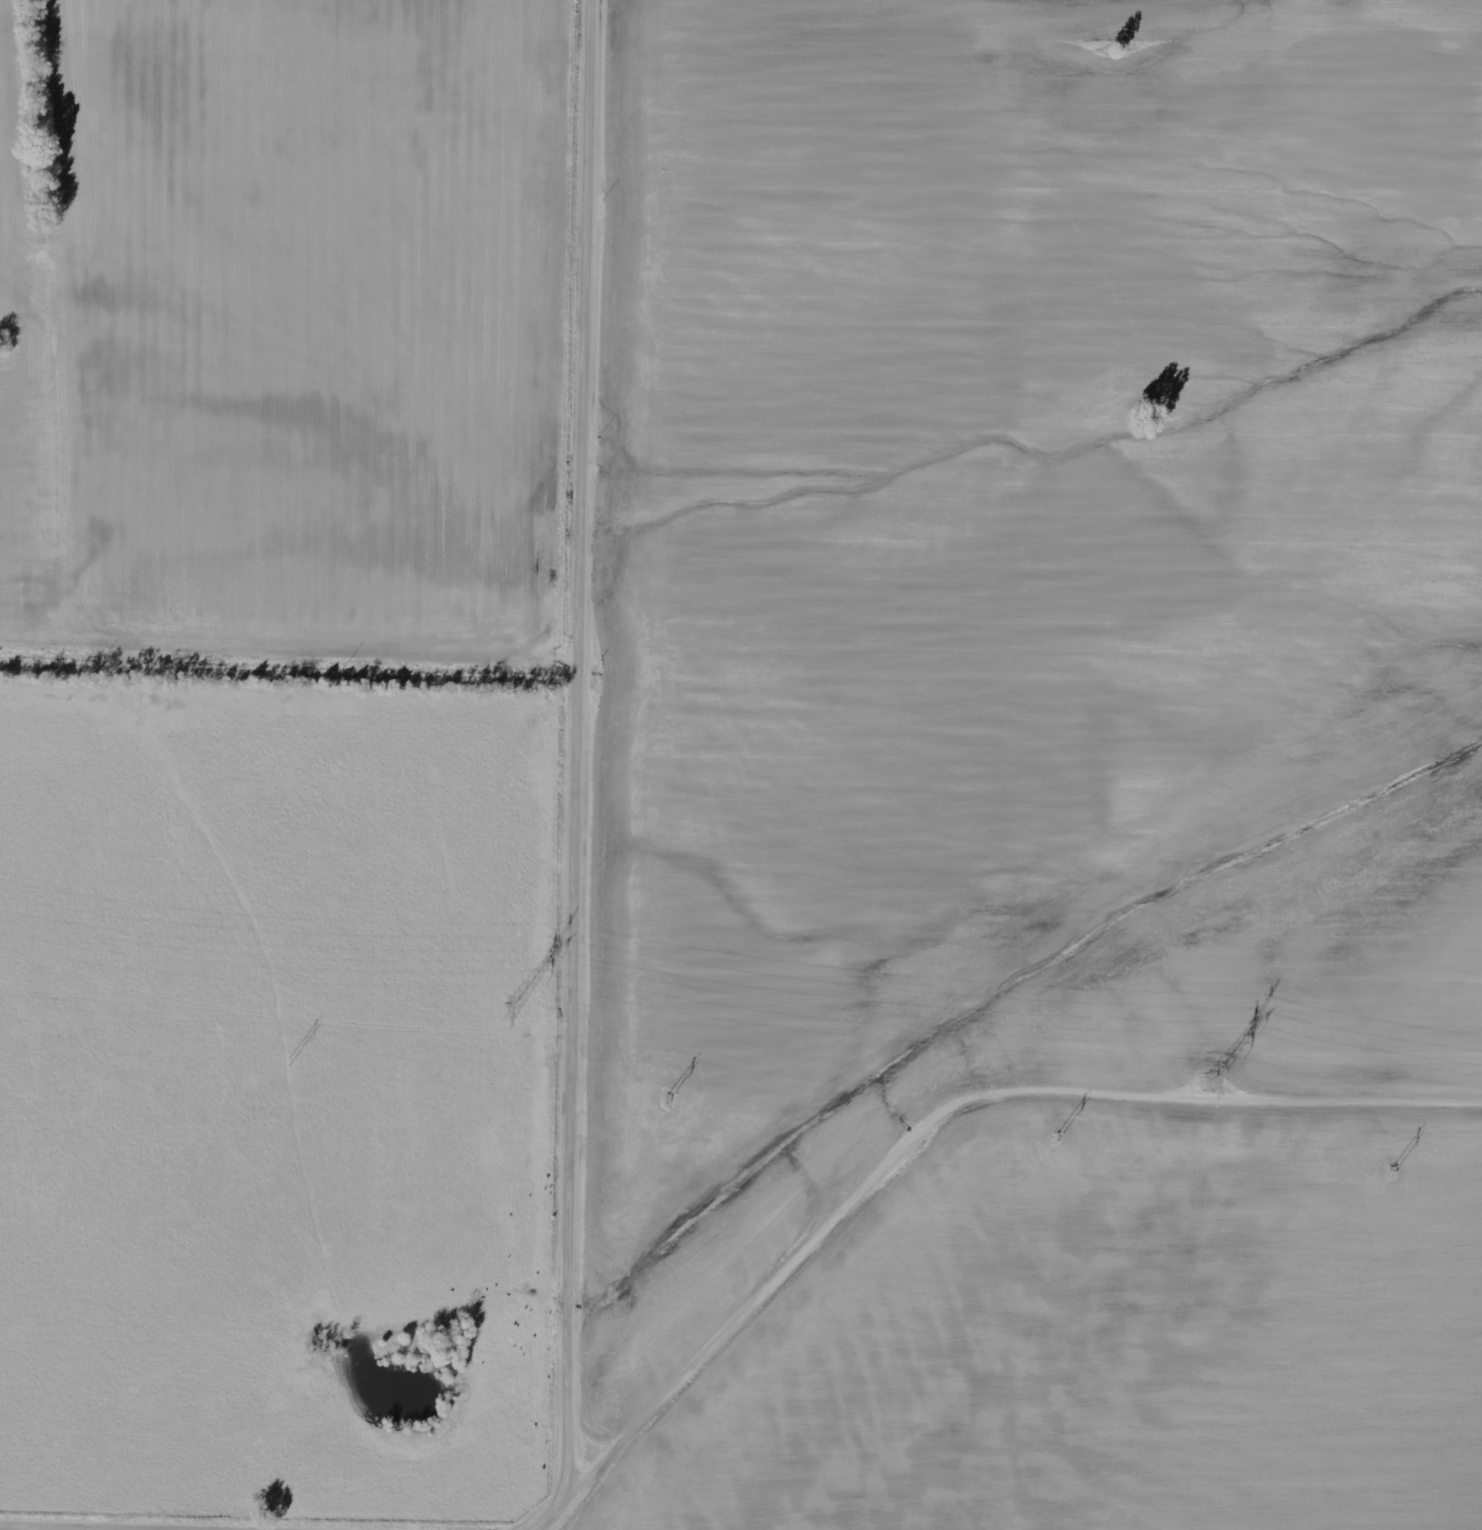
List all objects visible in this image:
road: (291, 650)
road: (581, 707)
power tower: (509, 1015)
power tower: (1209, 1085)
road: (734, 1300)

